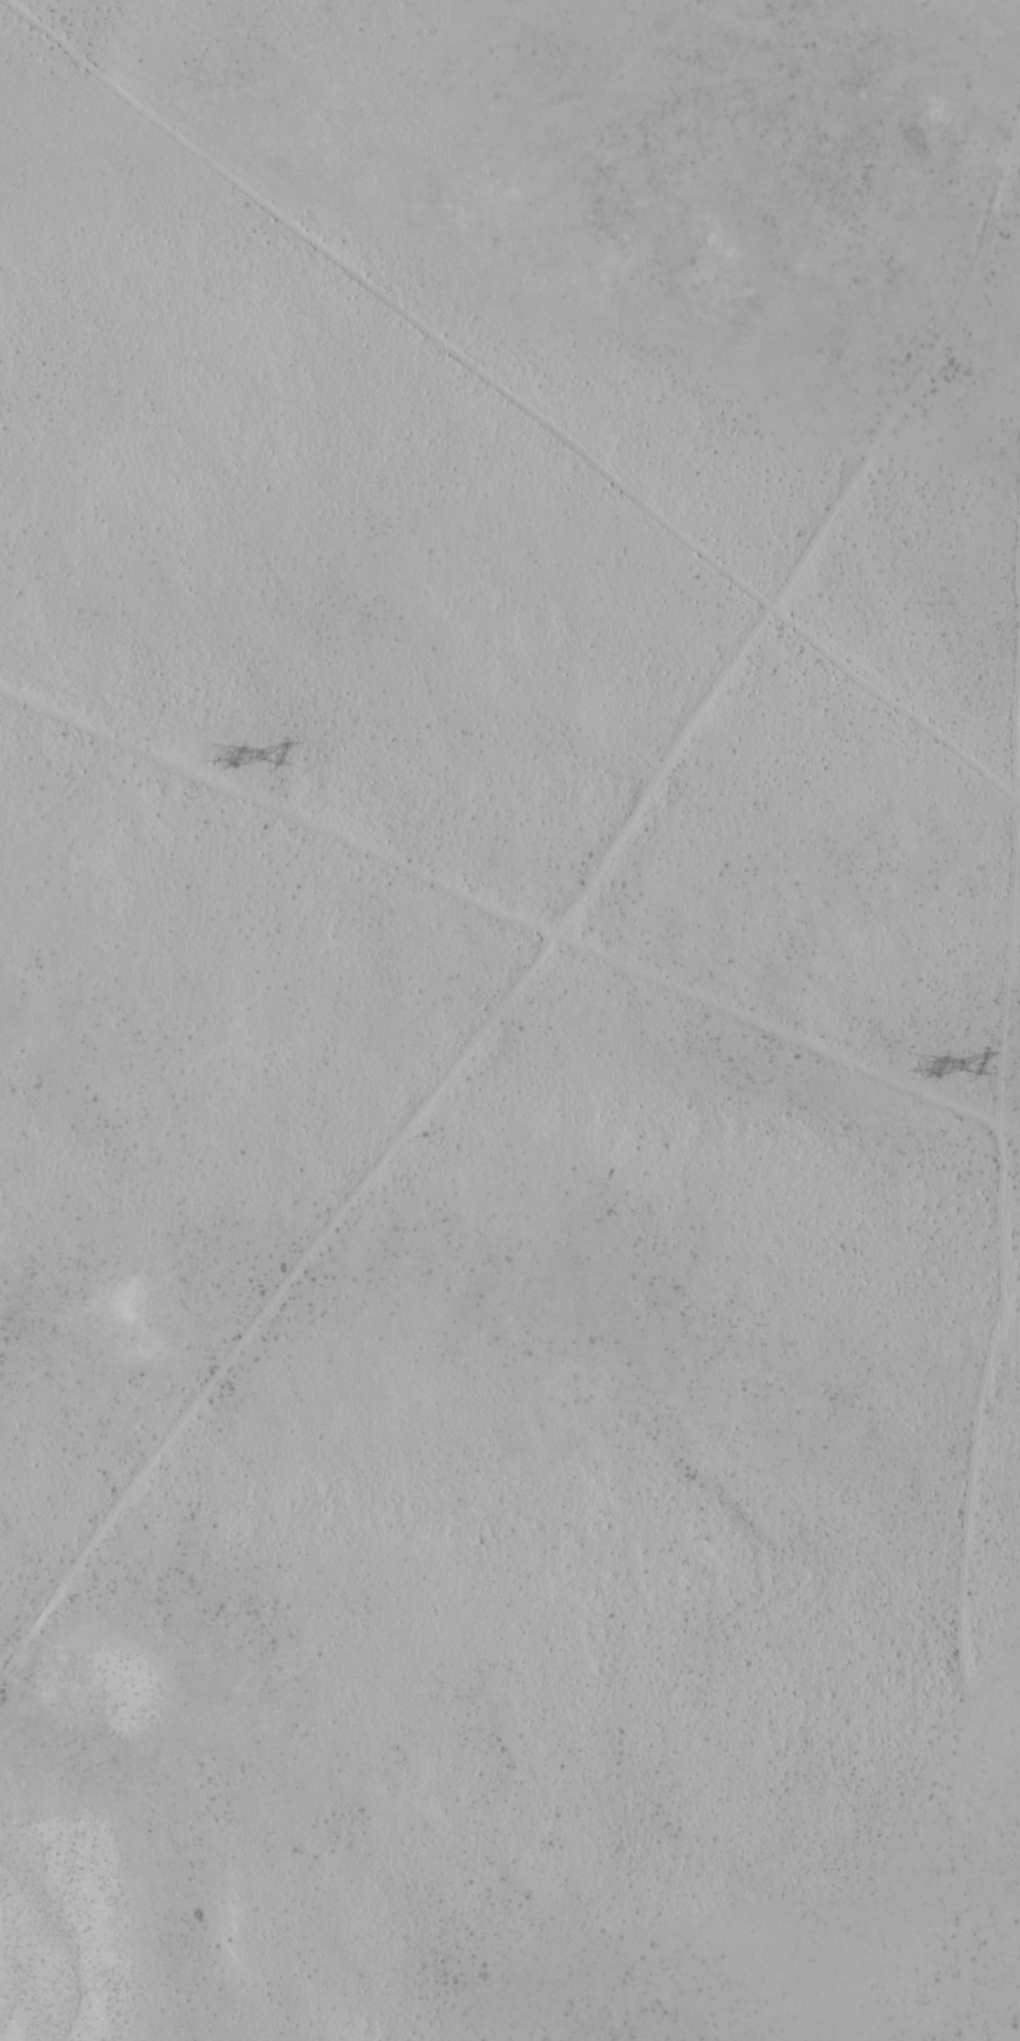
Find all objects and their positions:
power tower: (223, 755)
road: (556, 802)
power tower: (923, 1068)
road: (1004, 1299)

